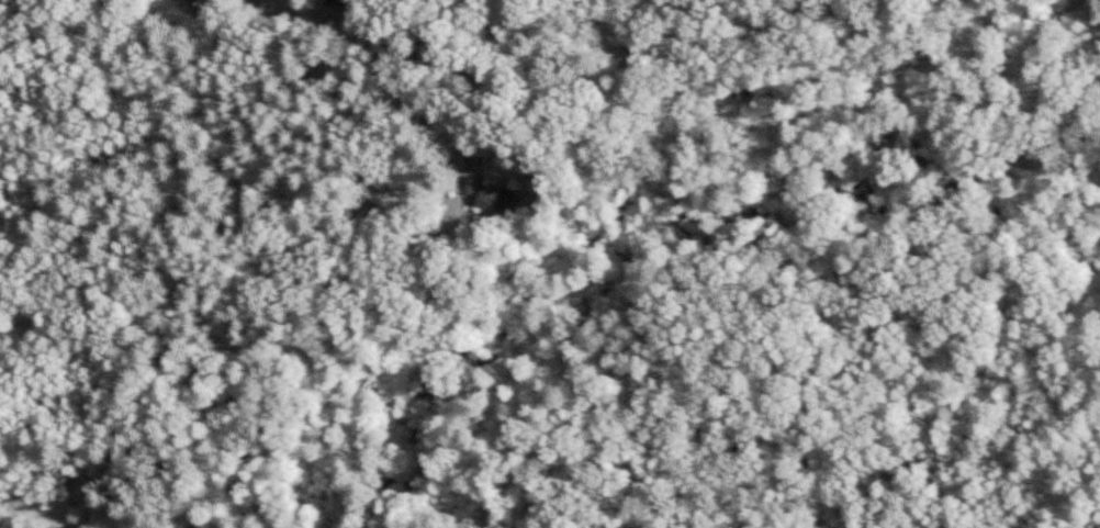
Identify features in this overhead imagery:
building: (195, 1)
road: (385, 63)
building: (492, 195)

